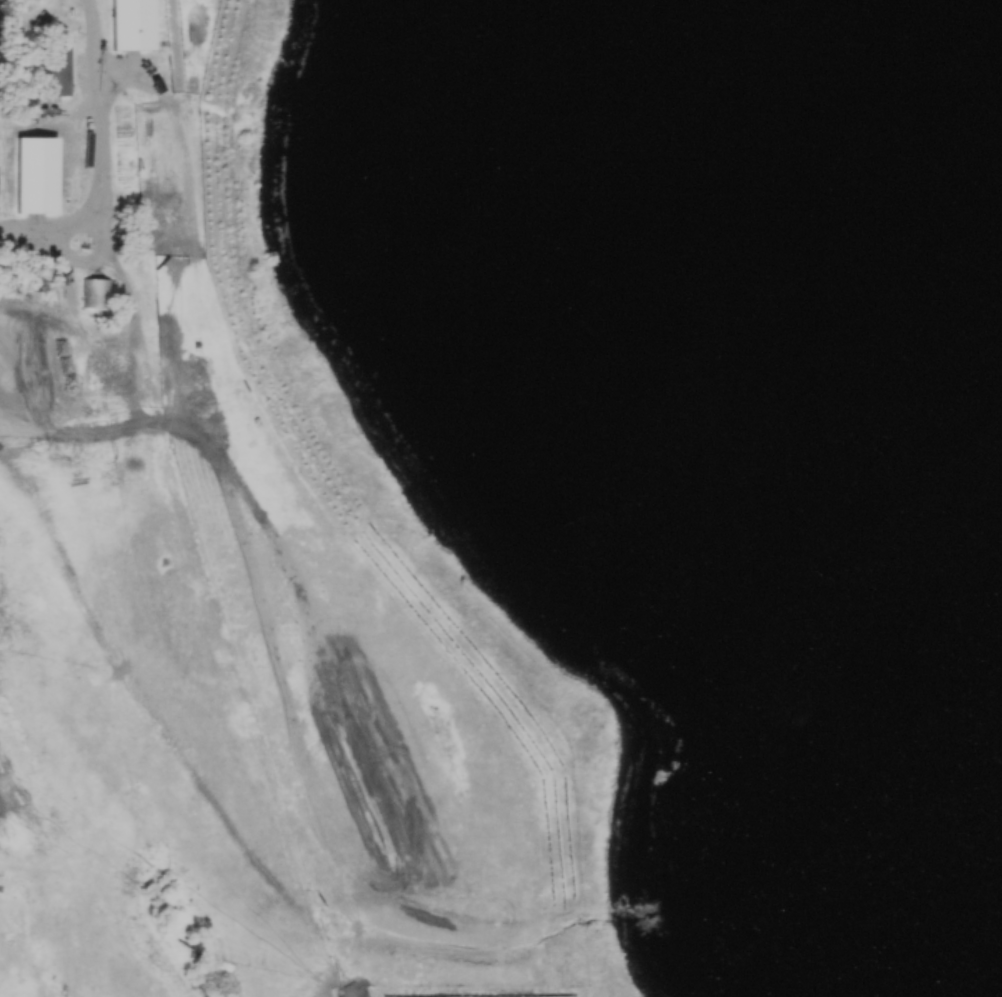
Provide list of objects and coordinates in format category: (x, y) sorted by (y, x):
building: (131, 24)
building: (55, 68)
building: (31, 174)
building: (97, 292)

